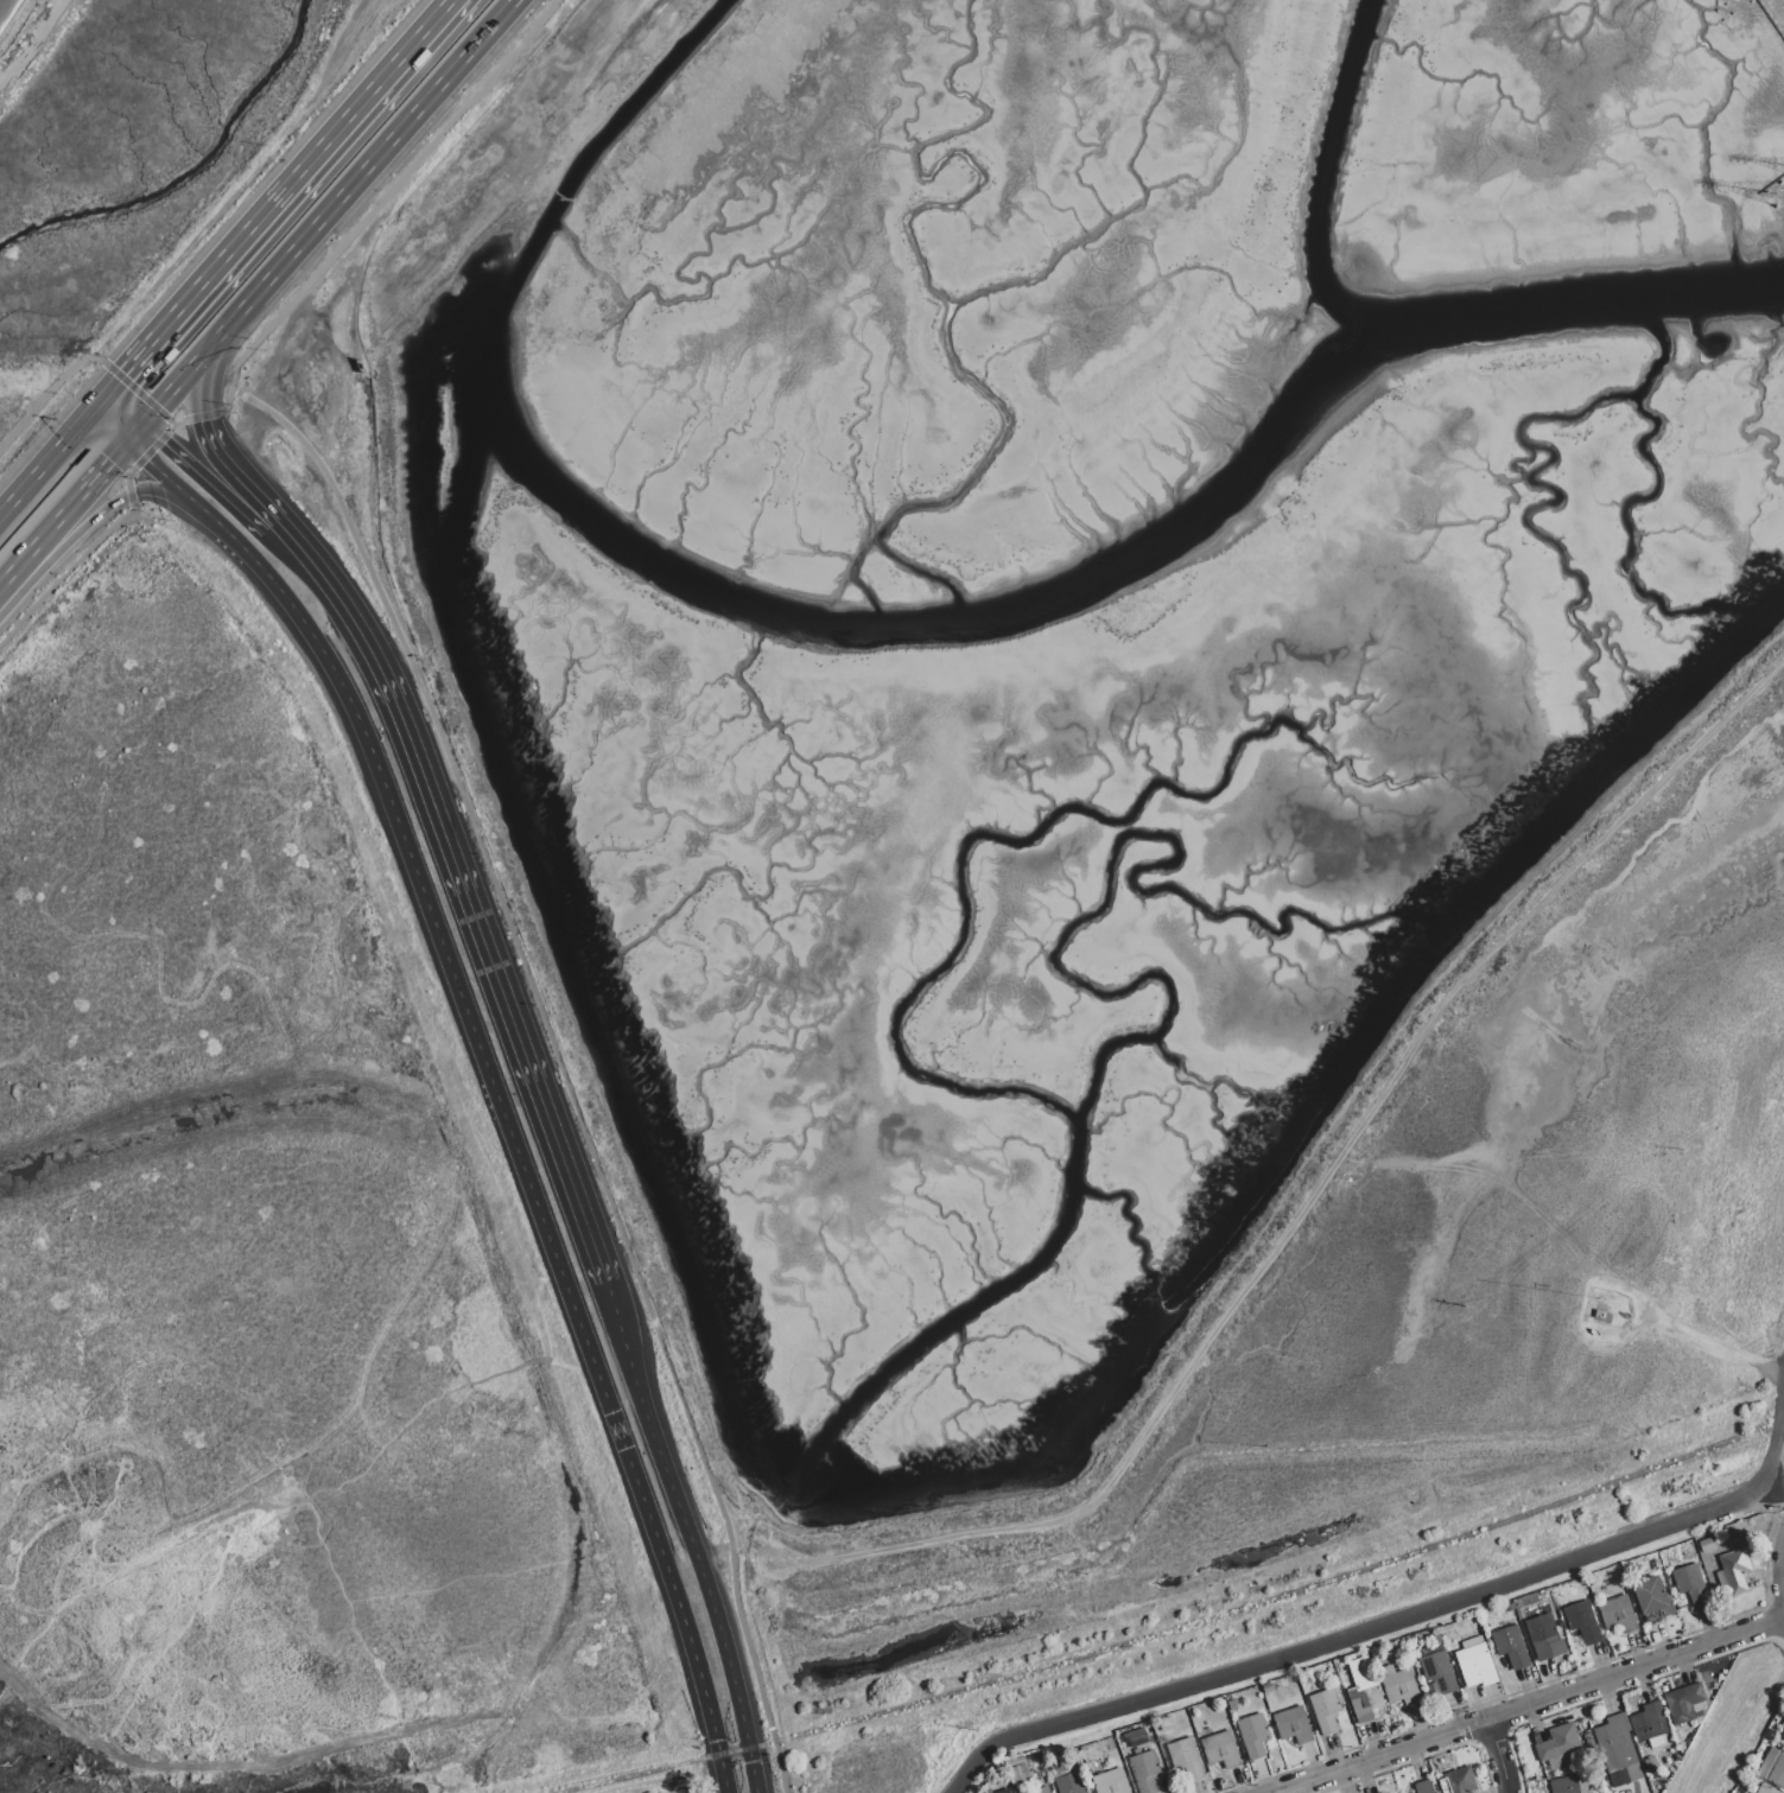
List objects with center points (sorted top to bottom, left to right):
power tower: (1757, 0)
road: (25, 36)
road: (372, 96)
road: (358, 183)
power tower: (1783, 198)
road: (383, 199)
road: (205, 286)
traffic signals: (126, 376)
road: (179, 388)
road: (113, 390)
road: (203, 390)
road: (139, 393)
road: (47, 399)
road: (123, 415)
road: (199, 418)
road: (153, 419)
traffic signals: (209, 420)
road: (116, 424)
road: (83, 425)
road: (153, 434)
road: (138, 435)
traffic signals: (163, 443)
road: (138, 450)
road: (151, 451)
traffic signals: (113, 464)
road: (224, 468)
road: (208, 477)
road: (32, 483)
road: (128, 491)
road: (157, 492)
road: (83, 496)
road: (83, 522)
road: (18, 570)
road: (68, 578)
road: (456, 883)
road: (558, 1064)
road: (491, 1072)
road: (1312, 1191)
building: (1598, 1315)
railway: (1746, 1435)
road: (1773, 1493)
road: (680, 1514)
road: (1782, 1566)
building: (1735, 1570)
building: (1691, 1585)
building: (1653, 1597)
railway: (1274, 1600)
building: (1619, 1614)
road: (1404, 1620)
building: (1583, 1623)
road: (1766, 1624)
street lamp: (1720, 1626)
road: (1353, 1627)
building: (1545, 1638)
building: (1511, 1648)
building: (1477, 1662)
building: (1437, 1674)
road: (1536, 1686)
building: (1402, 1689)
road: (1618, 1692)
building: (1365, 1697)
building: (1683, 1703)
road: (1528, 1704)
building: (1326, 1710)
building: (1294, 1725)
building: (1650, 1725)
building: (1253, 1735)
building: (1782, 1735)
building: (1560, 1742)
road: (1474, 1744)
building: (1617, 1748)
building: (1221, 1750)
railway: (735, 1751)
road: (1498, 1755)
building: (1186, 1759)
road: (1422, 1759)
building: (1772, 1768)
road: (756, 1770)
building: (1018, 1770)
building: (1143, 1772)
railway: (639, 1774)
road: (720, 1774)
building: (1111, 1782)
building: (1459, 1782)
building: (1072, 1784)
building: (1564, 1785)
building: (1424, 1787)
building: (998, 1788)
building: (1766, 1788)
building: (1042, 1791)

